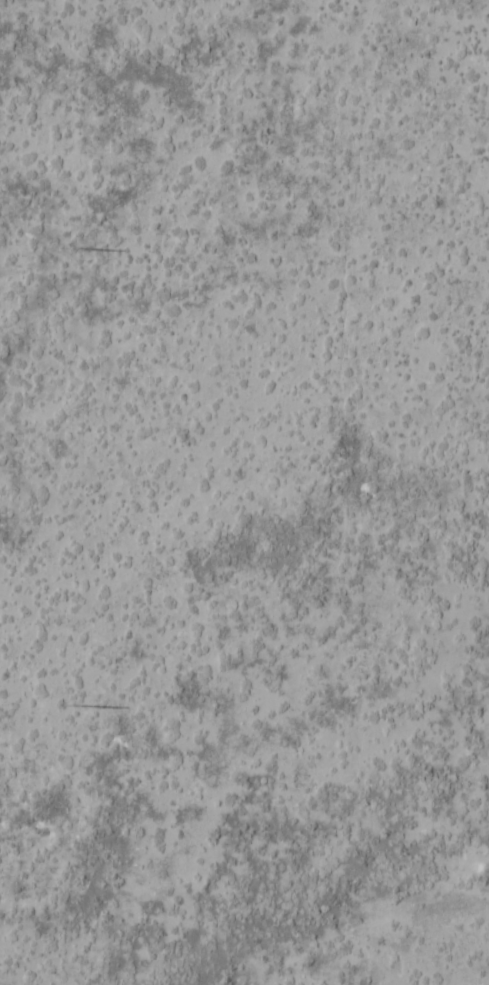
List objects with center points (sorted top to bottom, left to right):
power tower: (62, 249)
power tower: (67, 707)

